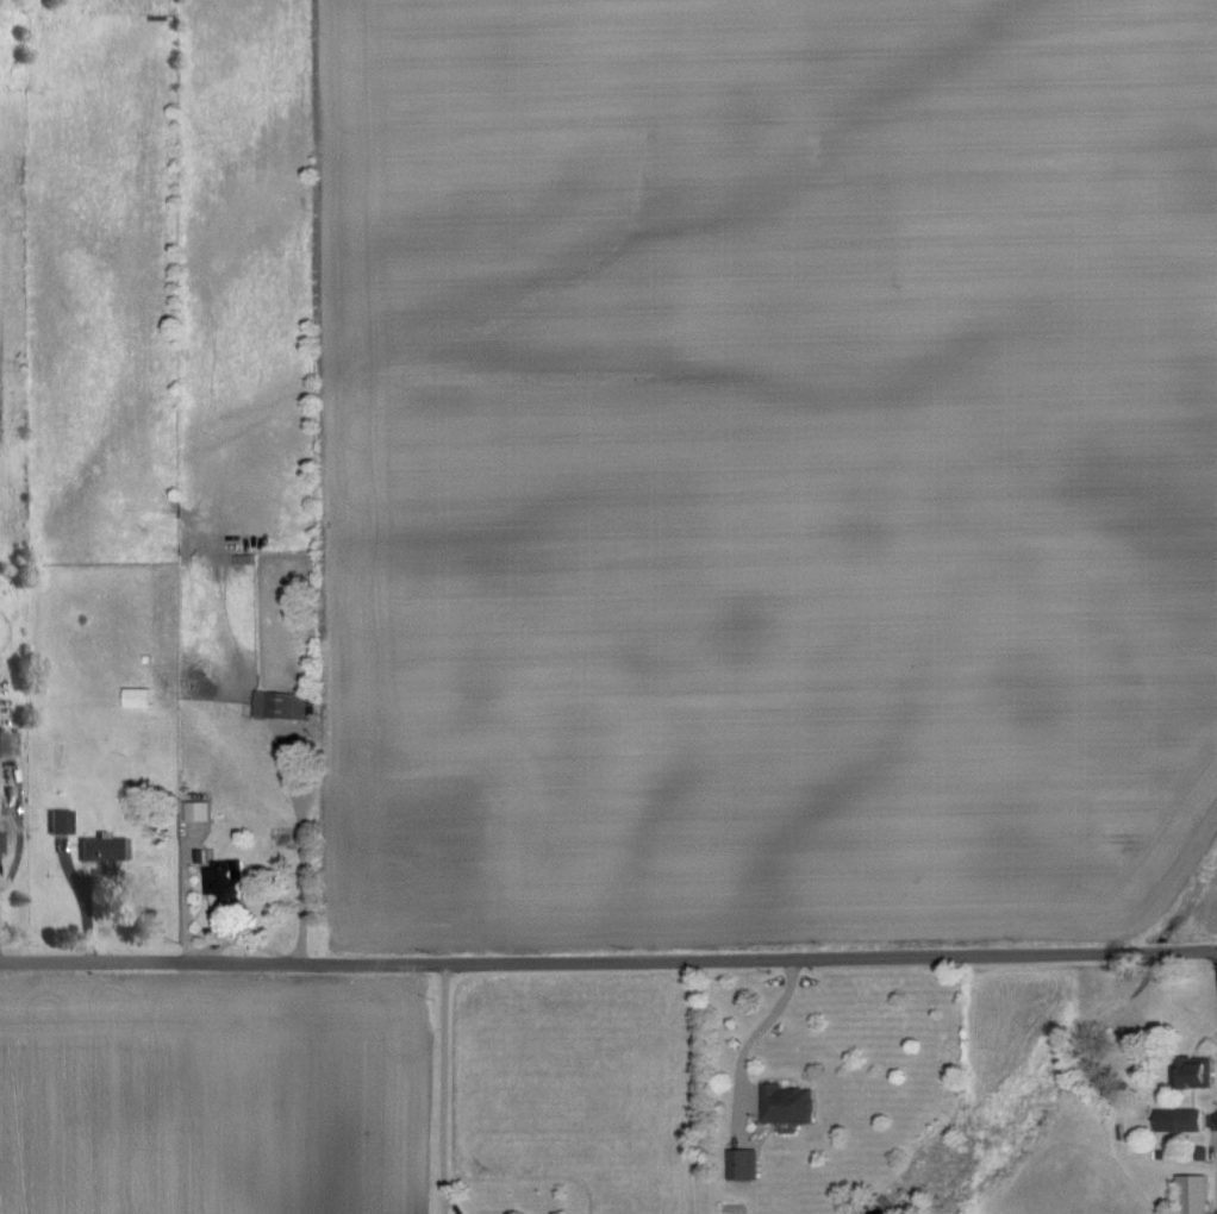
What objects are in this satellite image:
building: (141, 696)
building: (285, 705)
building: (8, 744)
building: (204, 809)
building: (63, 821)
building: (2, 843)
building: (107, 847)
building: (230, 878)
road: (608, 957)
road: (749, 1031)
building: (1199, 1075)
road: (439, 1078)
building: (792, 1102)
road: (1205, 1113)
building: (1184, 1119)
building: (747, 1163)
building: (1198, 1194)
road: (445, 1201)

